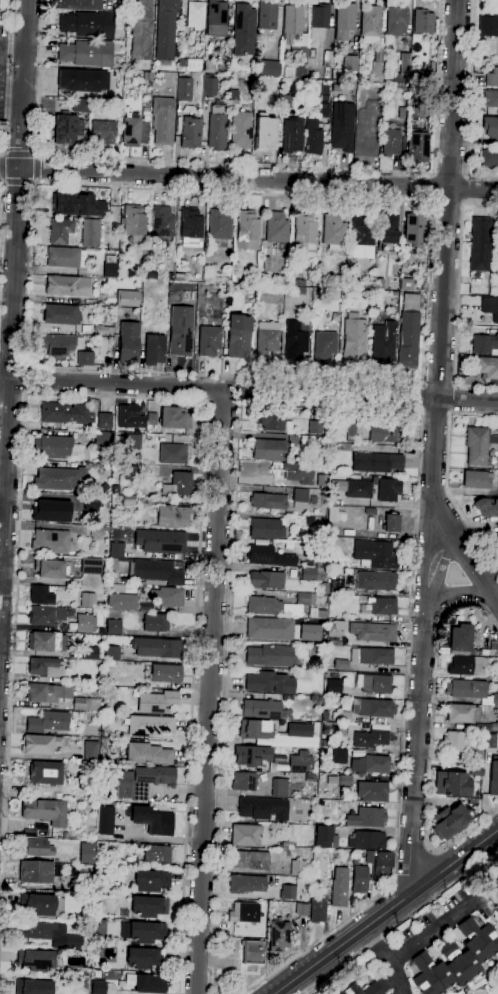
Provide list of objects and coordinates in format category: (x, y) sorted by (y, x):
building: (76, 4)
building: (142, 4)
building: (196, 14)
building: (267, 15)
building: (320, 16)
building: (216, 18)
building: (345, 20)
building: (396, 20)
building: (423, 21)
building: (292, 23)
building: (371, 23)
building: (88, 24)
building: (488, 25)
building: (166, 30)
building: (244, 30)
building: (141, 35)
building: (87, 53)
building: (327, 59)
building: (299, 61)
building: (182, 64)
building: (350, 64)
building: (194, 65)
building: (378, 65)
building: (209, 66)
building: (269, 68)
building: (409, 71)
building: (147, 76)
road: (7, 77)
building: (392, 78)
building: (492, 78)
building: (82, 80)
building: (261, 80)
building: (208, 86)
building: (184, 88)
building: (233, 96)
building: (258, 98)
building: (490, 98)
building: (375, 99)
building: (285, 101)
road: (470, 102)
building: (81, 105)
building: (325, 107)
building: (401, 113)
building: (163, 120)
building: (342, 126)
building: (216, 127)
building: (490, 127)
building: (67, 128)
building: (241, 129)
building: (134, 131)
building: (103, 132)
building: (190, 132)
building: (292, 135)
building: (313, 137)
building: (266, 138)
building: (391, 142)
building: (365, 144)
building: (417, 146)
road: (20, 152)
building: (489, 158)
road: (244, 165)
road: (2, 167)
road: (39, 169)
road: (449, 175)
road: (249, 179)
road: (19, 183)
road: (35, 183)
road: (431, 187)
road: (1, 203)
building: (72, 203)
road: (446, 205)
building: (133, 220)
building: (162, 221)
building: (219, 226)
building: (191, 227)
building: (276, 227)
building: (389, 228)
building: (61, 230)
building: (248, 230)
building: (414, 230)
building: (334, 231)
building: (90, 233)
building: (304, 236)
building: (362, 237)
building: (497, 239)
building: (480, 244)
building: (63, 257)
road: (445, 261)
building: (110, 270)
building: (493, 270)
building: (124, 273)
building: (351, 274)
building: (151, 275)
building: (170, 276)
building: (178, 277)
building: (339, 279)
building: (298, 282)
building: (378, 283)
building: (497, 284)
building: (68, 286)
building: (199, 286)
road: (14, 289)
building: (299, 290)
building: (318, 293)
building: (269, 294)
road: (458, 297)
building: (127, 298)
building: (490, 307)
building: (61, 314)
building: (378, 319)
building: (86, 329)
building: (103, 329)
building: (181, 330)
building: (408, 330)
building: (238, 335)
building: (295, 339)
building: (209, 340)
building: (267, 340)
building: (354, 340)
building: (129, 342)
building: (324, 343)
building: (383, 343)
building: (484, 343)
building: (60, 345)
building: (154, 349)
road: (14, 355)
building: (85, 358)
building: (487, 367)
road: (29, 378)
road: (439, 384)
road: (248, 390)
road: (13, 393)
road: (126, 396)
road: (423, 397)
road: (454, 398)
road: (365, 408)
road: (436, 412)
building: (64, 413)
building: (130, 417)
building: (152, 418)
building: (174, 418)
building: (104, 420)
building: (271, 421)
building: (288, 427)
building: (315, 427)
building: (351, 432)
building: (384, 432)
building: (101, 440)
building: (134, 441)
building: (478, 444)
building: (56, 447)
building: (269, 449)
building: (172, 453)
building: (137, 457)
building: (497, 459)
building: (376, 462)
building: (131, 472)
building: (298, 473)
road: (446, 474)
building: (59, 479)
building: (477, 479)
building: (320, 480)
building: (178, 484)
building: (352, 488)
building: (497, 488)
building: (388, 489)
building: (300, 498)
building: (127, 499)
building: (268, 500)
building: (313, 500)
building: (487, 506)
building: (51, 510)
building: (370, 511)
building: (172, 517)
building: (309, 520)
building: (391, 522)
building: (266, 529)
building: (96, 532)
building: (496, 537)
building: (51, 541)
building: (160, 541)
building: (339, 546)
building: (309, 549)
building: (117, 550)
building: (375, 554)
road: (469, 554)
building: (268, 556)
building: (113, 564)
building: (90, 565)
building: (50, 568)
road: (424, 569)
building: (113, 571)
building: (157, 571)
building: (309, 574)
road: (439, 576)
building: (125, 579)
building: (267, 580)
building: (376, 580)
building: (117, 588)
road: (457, 594)
building: (40, 595)
building: (168, 596)
building: (87, 599)
building: (122, 601)
building: (100, 605)
building: (279, 605)
building: (380, 606)
building: (317, 612)
building: (45, 615)
building: (84, 623)
building: (155, 623)
building: (113, 626)
building: (270, 628)
building: (373, 631)
building: (312, 632)
building: (335, 632)
building: (460, 639)
building: (47, 642)
building: (493, 645)
building: (157, 648)
building: (473, 652)
building: (90, 653)
building: (112, 653)
building: (272, 655)
building: (372, 656)
building: (108, 663)
building: (341, 664)
building: (467, 665)
building: (44, 667)
building: (166, 673)
building: (270, 682)
building: (374, 683)
building: (333, 687)
road: (210, 691)
building: (471, 691)
building: (47, 692)
building: (157, 701)
building: (86, 704)
building: (373, 707)
building: (261, 709)
building: (462, 713)
building: (77, 715)
building: (338, 717)
building: (48, 722)
building: (149, 726)
building: (494, 726)
building: (334, 729)
building: (299, 730)
building: (256, 731)
road: (432, 737)
building: (370, 738)
building: (454, 741)
building: (39, 744)
building: (91, 751)
building: (476, 753)
building: (148, 754)
building: (252, 756)
building: (339, 756)
road: (416, 757)
building: (300, 761)
building: (371, 764)
building: (45, 772)
building: (158, 774)
building: (493, 775)
building: (332, 780)
building: (345, 780)
building: (244, 781)
building: (450, 783)
building: (132, 787)
building: (280, 788)
building: (372, 791)
building: (262, 808)
building: (45, 811)
building: (367, 817)
building: (106, 820)
building: (152, 820)
building: (449, 821)
building: (29, 832)
building: (244, 835)
building: (65, 836)
building: (326, 837)
building: (367, 840)
building: (39, 848)
road: (430, 851)
building: (86, 852)
building: (289, 852)
building: (157, 854)
building: (349, 856)
building: (369, 857)
building: (249, 860)
building: (382, 864)
road: (413, 865)
building: (297, 868)
building: (58, 869)
building: (36, 872)
building: (360, 879)
road: (395, 879)
building: (495, 879)
building: (150, 881)
building: (247, 884)
building: (339, 887)
building: (287, 892)
building: (38, 904)
building: (149, 906)
building: (318, 908)
building: (303, 910)
building: (244, 912)
road: (385, 912)
road: (401, 922)
building: (39, 930)
building: (143, 931)
road: (431, 933)
building: (456, 934)
building: (278, 935)
building: (67, 941)
building: (433, 951)
building: (252, 952)
building: (139, 957)
road: (387, 958)
building: (456, 959)
building: (35, 960)
building: (146, 983)
building: (33, 986)
building: (98, 987)
building: (363, 989)

